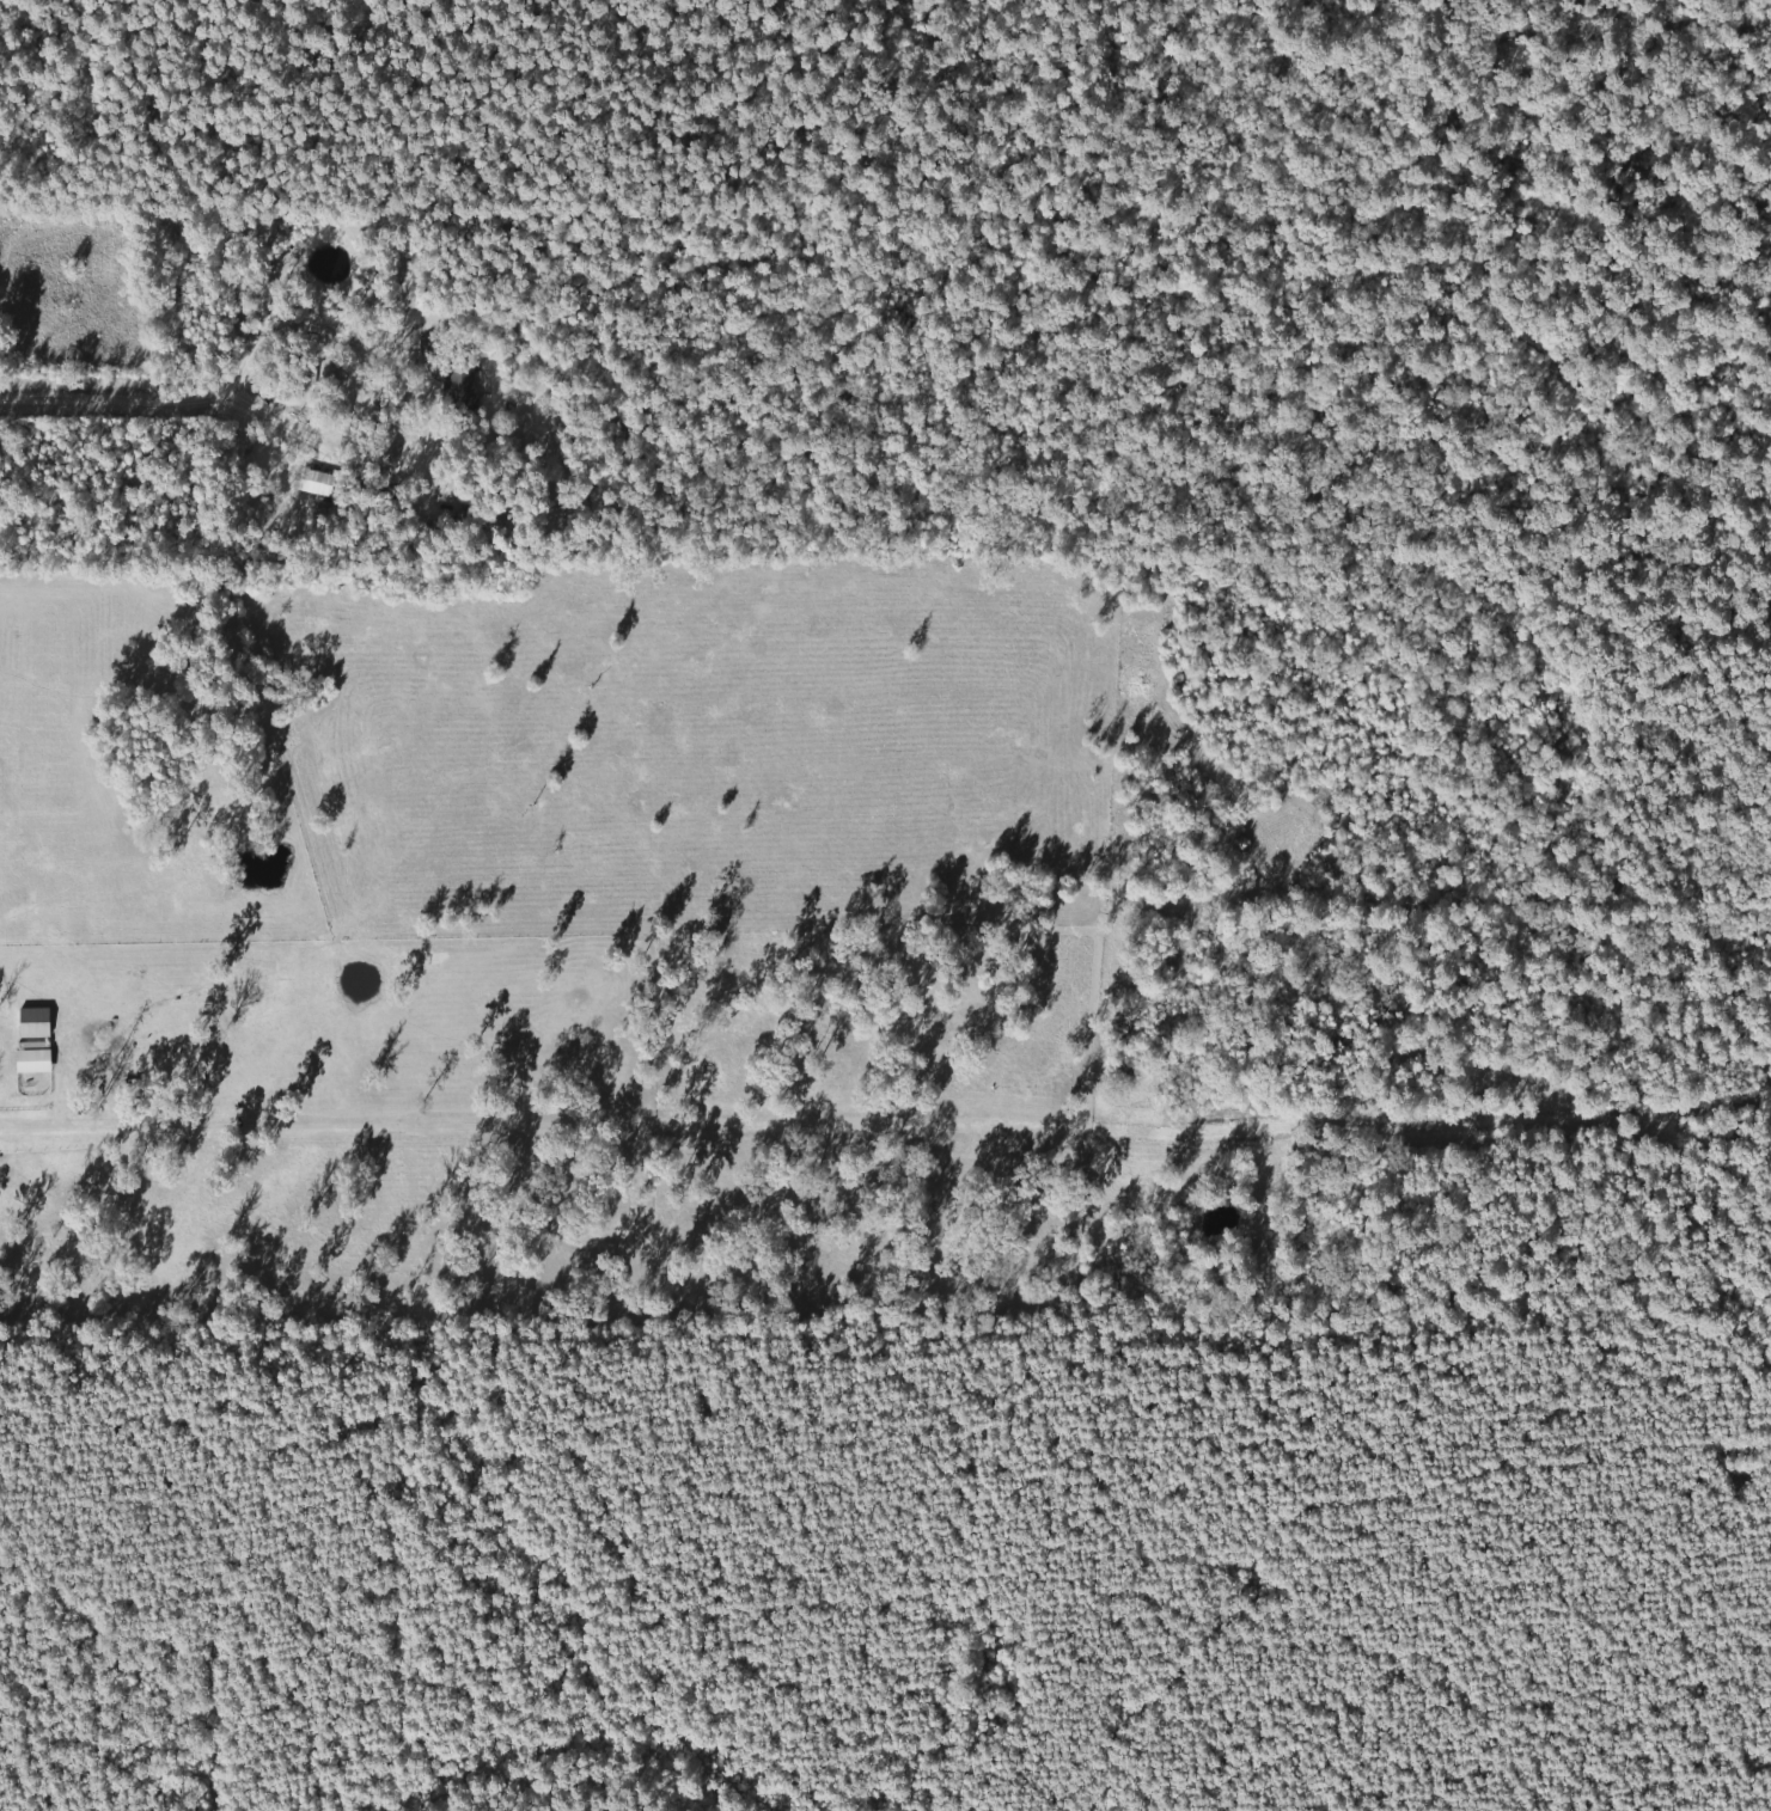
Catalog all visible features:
building: (310, 342)
road: (359, 374)
building: (458, 384)
road: (106, 400)
building: (312, 483)
building: (481, 519)
building: (32, 1023)
building: (31, 1061)

